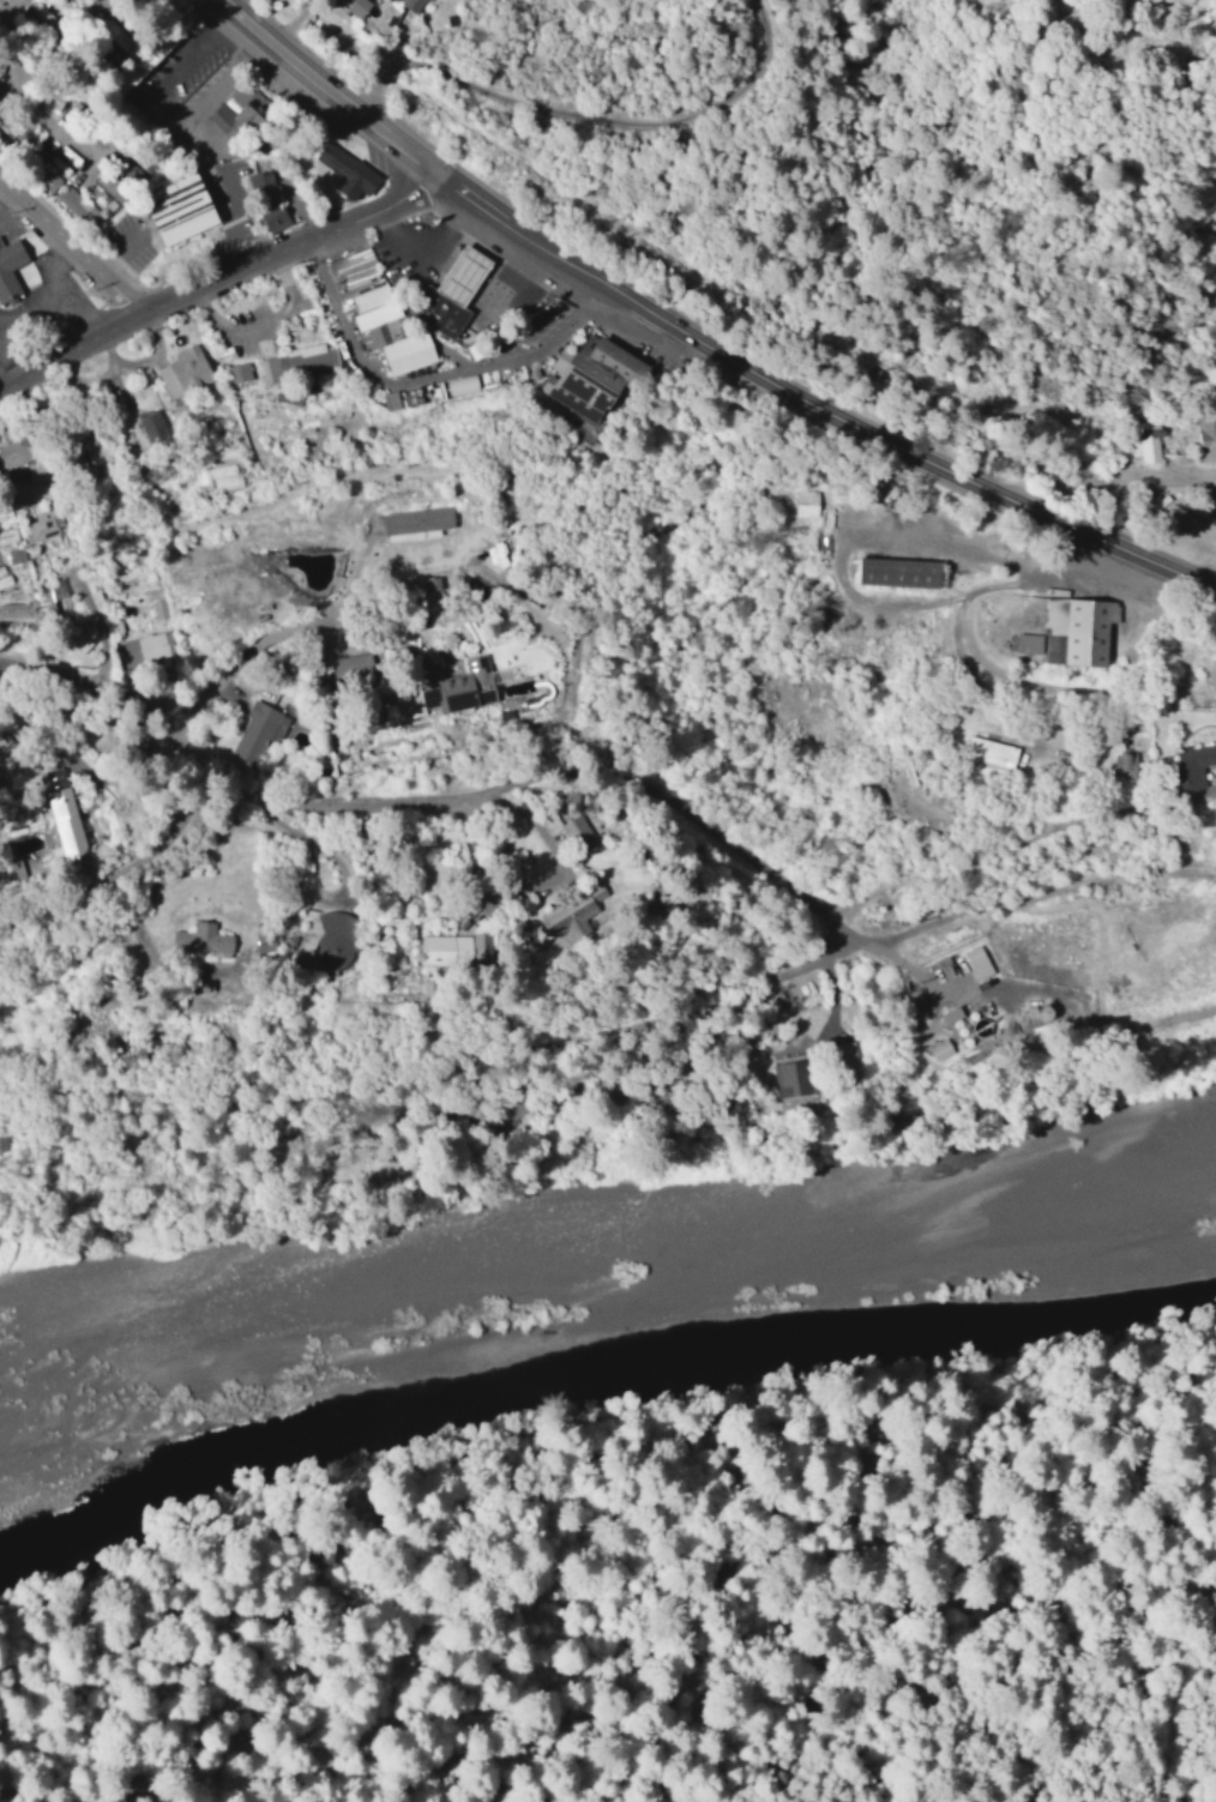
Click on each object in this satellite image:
building: (413, 4)
building: (362, 7)
parking lot: (170, 80)
building: (237, 120)
building: (20, 123)
building: (353, 175)
building: (265, 183)
building: (104, 187)
building: (68, 195)
building: (189, 209)
building: (277, 217)
road: (70, 259)
building: (11, 267)
road: (215, 288)
building: (456, 294)
building: (369, 296)
building: (393, 337)
road: (693, 337)
building: (301, 362)
building: (187, 370)
building: (586, 378)
building: (463, 384)
road: (429, 387)
building: (393, 399)
building: (155, 424)
building: (1205, 438)
building: (1145, 440)
building: (18, 451)
building: (0, 475)
building: (40, 478)
building: (803, 504)
building: (411, 522)
building: (499, 548)
building: (890, 571)
road: (1011, 589)
building: (1073, 627)
road: (1132, 627)
road: (392, 634)
road: (293, 638)
building: (1024, 641)
building: (145, 646)
road: (301, 683)
building: (446, 689)
road: (95, 704)
building: (254, 730)
building: (987, 751)
building: (1120, 764)
building: (1188, 764)
road: (959, 769)
road: (500, 796)
building: (59, 810)
building: (576, 833)
road: (125, 878)
road: (1040, 905)
building: (570, 911)
road: (831, 923)
building: (198, 938)
building: (331, 940)
building: (260, 941)
building: (441, 947)
building: (975, 962)
building: (913, 1004)
road: (723, 1030)
building: (841, 1059)
road: (443, 1077)
building: (785, 1077)
building: (4, 1140)
river: (1119, 1302)
river: (806, 1345)
river: (277, 1417)
road: (873, 1655)

